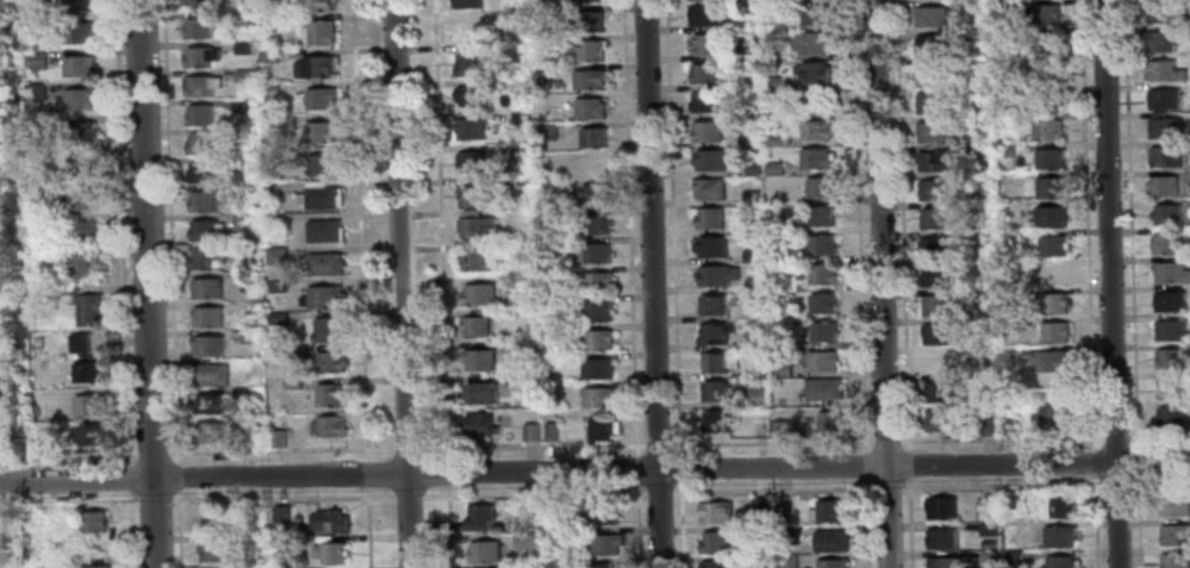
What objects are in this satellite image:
building: (699, 0)
building: (587, 1)
building: (195, 2)
building: (466, 4)
building: (75, 5)
building: (314, 5)
building: (999, 6)
building: (6, 8)
building: (1159, 12)
building: (1043, 14)
building: (703, 15)
building: (814, 15)
building: (929, 17)
building: (590, 20)
building: (269, 21)
building: (197, 27)
building: (6, 30)
building: (467, 31)
building: (320, 32)
building: (76, 33)
building: (974, 35)
building: (1160, 42)
building: (814, 43)
building: (1043, 43)
building: (705, 45)
building: (929, 45)
building: (242, 46)
building: (591, 50)
building: (746, 52)
building: (200, 56)
building: (268, 56)
building: (35, 61)
building: (466, 64)
building: (2, 65)
building: (77, 65)
building: (316, 67)
building: (1164, 71)
building: (546, 73)
building: (812, 73)
building: (704, 74)
building: (930, 74)
building: (242, 75)
building: (588, 80)
building: (771, 82)
building: (199, 86)
building: (269, 89)
building: (36, 92)
building: (472, 95)
building: (79, 99)
building: (319, 99)
building: (1164, 99)
building: (1046, 100)
building: (704, 102)
building: (932, 104)
building: (247, 106)
building: (590, 108)
building: (200, 114)
building: (1158, 116)
building: (269, 120)
building: (37, 125)
building: (1164, 129)
building: (471, 130)
building: (817, 130)
building: (1046, 130)
building: (548, 131)
building: (80, 132)
building: (318, 132)
building: (706, 132)
building: (932, 132)
building: (593, 137)
building: (772, 139)
building: (748, 141)
building: (205, 144)
building: (1004, 150)
building: (978, 151)
building: (270, 154)
building: (1165, 157)
building: (815, 160)
building: (1048, 160)
building: (710, 161)
building: (933, 161)
building: (471, 162)
building: (81, 164)
building: (322, 166)
building: (773, 169)
building: (754, 170)
building: (201, 173)
building: (1186, 176)
building: (1163, 186)
building: (818, 188)
building: (1049, 188)
building: (710, 189)
building: (934, 191)
building: (594, 195)
building: (320, 198)
building: (472, 198)
building: (750, 198)
building: (82, 200)
building: (203, 201)
building: (1166, 214)
building: (820, 217)
building: (1049, 217)
building: (706, 218)
building: (935, 219)
building: (244, 220)
building: (273, 220)
building: (42, 221)
road: (1130, 221)
road: (1086, 223)
building: (594, 224)
road: (902, 224)
building: (474, 227)
road: (629, 227)
road: (360, 230)
building: (204, 231)
building: (322, 231)
road: (440, 231)
building: (82, 233)
building: (1165, 243)
building: (820, 245)
building: (1051, 245)
building: (710, 248)
building: (934, 248)
building: (777, 252)
building: (597, 254)
building: (275, 256)
building: (752, 256)
building: (204, 258)
building: (476, 262)
building: (325, 264)
building: (85, 266)
building: (1170, 273)
building: (822, 274)
building: (1053, 274)
building: (716, 275)
building: (935, 276)
building: (247, 279)
building: (510, 282)
building: (597, 282)
road: (124, 283)
road: (145, 283)
road: (172, 283)
road: (400, 283)
road: (650, 283)
road: (675, 283)
building: (754, 283)
road: (860, 283)
road: (879, 283)
road: (1109, 283)
building: (275, 287)
building: (206, 288)
building: (476, 295)
building: (1005, 295)
building: (324, 297)
building: (1170, 301)
building: (822, 304)
building: (1053, 304)
building: (712, 306)
building: (936, 306)
building: (87, 308)
building: (598, 311)
building: (207, 317)
building: (276, 318)
building: (1007, 325)
building: (474, 326)
building: (5, 327)
building: (328, 330)
building: (1170, 330)
building: (822, 332)
building: (714, 333)
building: (1054, 333)
building: (937, 335)
building: (248, 337)
building: (598, 339)
building: (753, 339)
building: (207, 347)
building: (297, 351)
building: (1171, 358)
building: (83, 361)
building: (478, 361)
building: (1048, 361)
building: (329, 362)
building: (821, 362)
building: (714, 363)
building: (939, 364)
building: (597, 368)
building: (780, 369)
building: (755, 373)
building: (210, 375)
building: (291, 383)
building: (1171, 388)
building: (823, 389)
building: (716, 392)
building: (939, 392)
building: (241, 394)
building: (329, 394)
building: (481, 394)
building: (7, 395)
building: (598, 398)
building: (758, 398)
building: (208, 404)
building: (88, 405)
building: (1052, 418)
building: (1171, 418)
building: (942, 420)
building: (716, 423)
building: (479, 424)
building: (831, 424)
building: (1008, 425)
building: (328, 426)
building: (986, 426)
building: (600, 429)
building: (758, 429)
building: (778, 429)
building: (530, 432)
building: (550, 432)
building: (208, 433)
building: (88, 436)
road: (1159, 436)
road: (1115, 437)
building: (276, 438)
road: (1001, 438)
road: (772, 441)
road: (886, 441)
building: (43, 442)
road: (656, 443)
road: (534, 447)
road: (410, 449)
road: (197, 450)
road: (1094, 460)
road: (1138, 460)
road: (908, 463)
road: (594, 470)
road: (367, 473)
road: (447, 473)
road: (1157, 482)
road: (1114, 485)
street lamp: (905, 486)
street lamp: (641, 488)
road: (762, 489)
street lamp: (422, 493)
road: (409, 495)
road: (266, 498)
building: (1013, 498)
street lamp: (135, 499)
road: (68, 504)
building: (1176, 505)
building: (762, 506)
building: (942, 506)
building: (1064, 506)
building: (989, 508)
building: (829, 510)
road: (637, 511)
building: (716, 511)
building: (560, 512)
building: (604, 512)
building: (284, 513)
building: (785, 513)
building: (481, 516)
building: (522, 518)
building: (95, 519)
building: (329, 519)
road: (1096, 520)
road: (1139, 522)
road: (910, 523)
road: (368, 526)
road: (448, 526)
building: (1177, 535)
building: (1060, 536)
building: (942, 538)
building: (525, 539)
building: (833, 539)
building: (715, 541)
building: (608, 543)
building: (286, 545)
building: (555, 548)
building: (216, 550)
building: (486, 550)
building: (330, 551)
building: (19, 554)
building: (991, 560)
building: (1059, 561)
building: (1175, 561)
building: (565, 562)
building: (834, 562)
building: (943, 562)
building: (717, 563)
building: (609, 564)
building: (95, 566)

